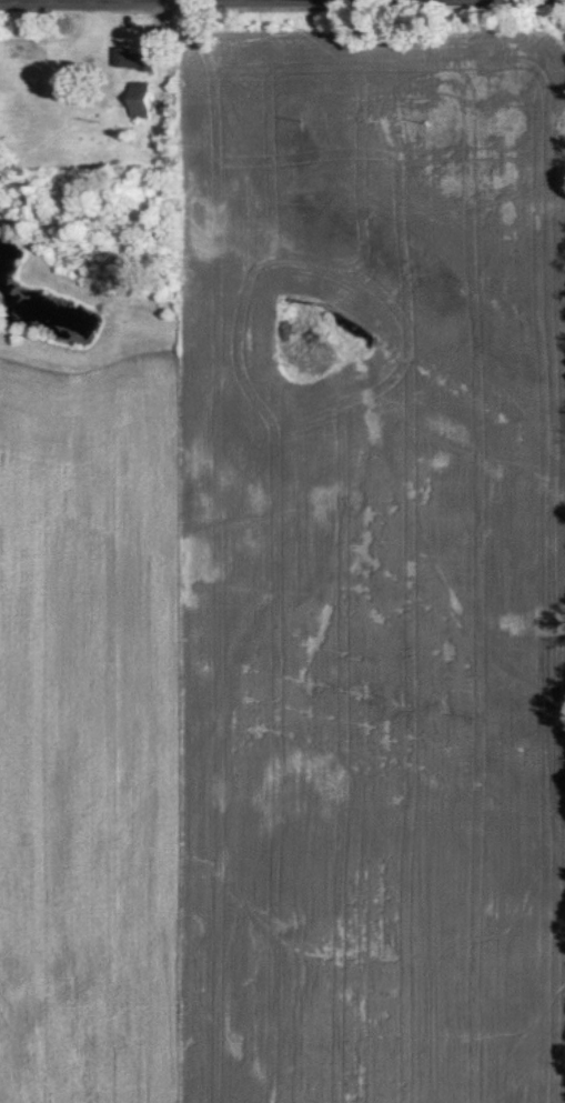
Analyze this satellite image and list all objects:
building: (135, 58)
building: (141, 99)

